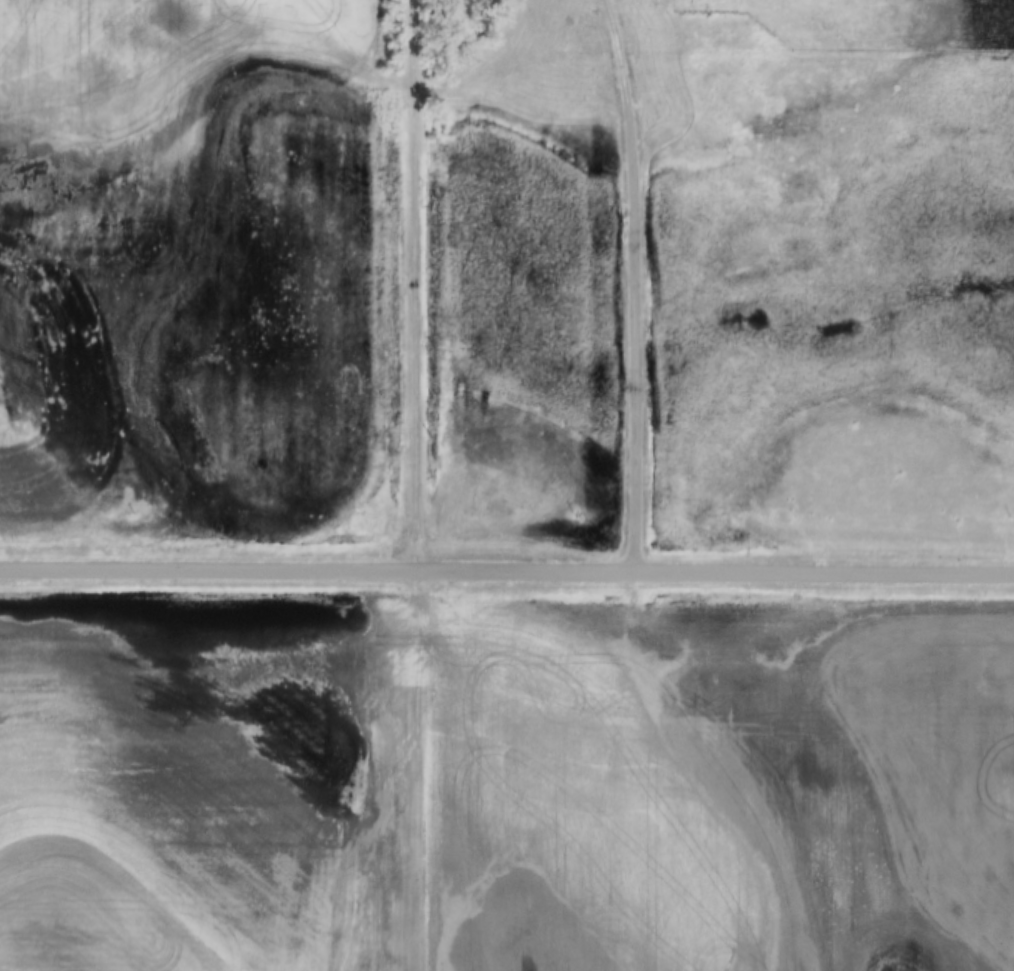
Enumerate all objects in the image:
road: (633, 285)
road: (411, 286)
road: (507, 574)

